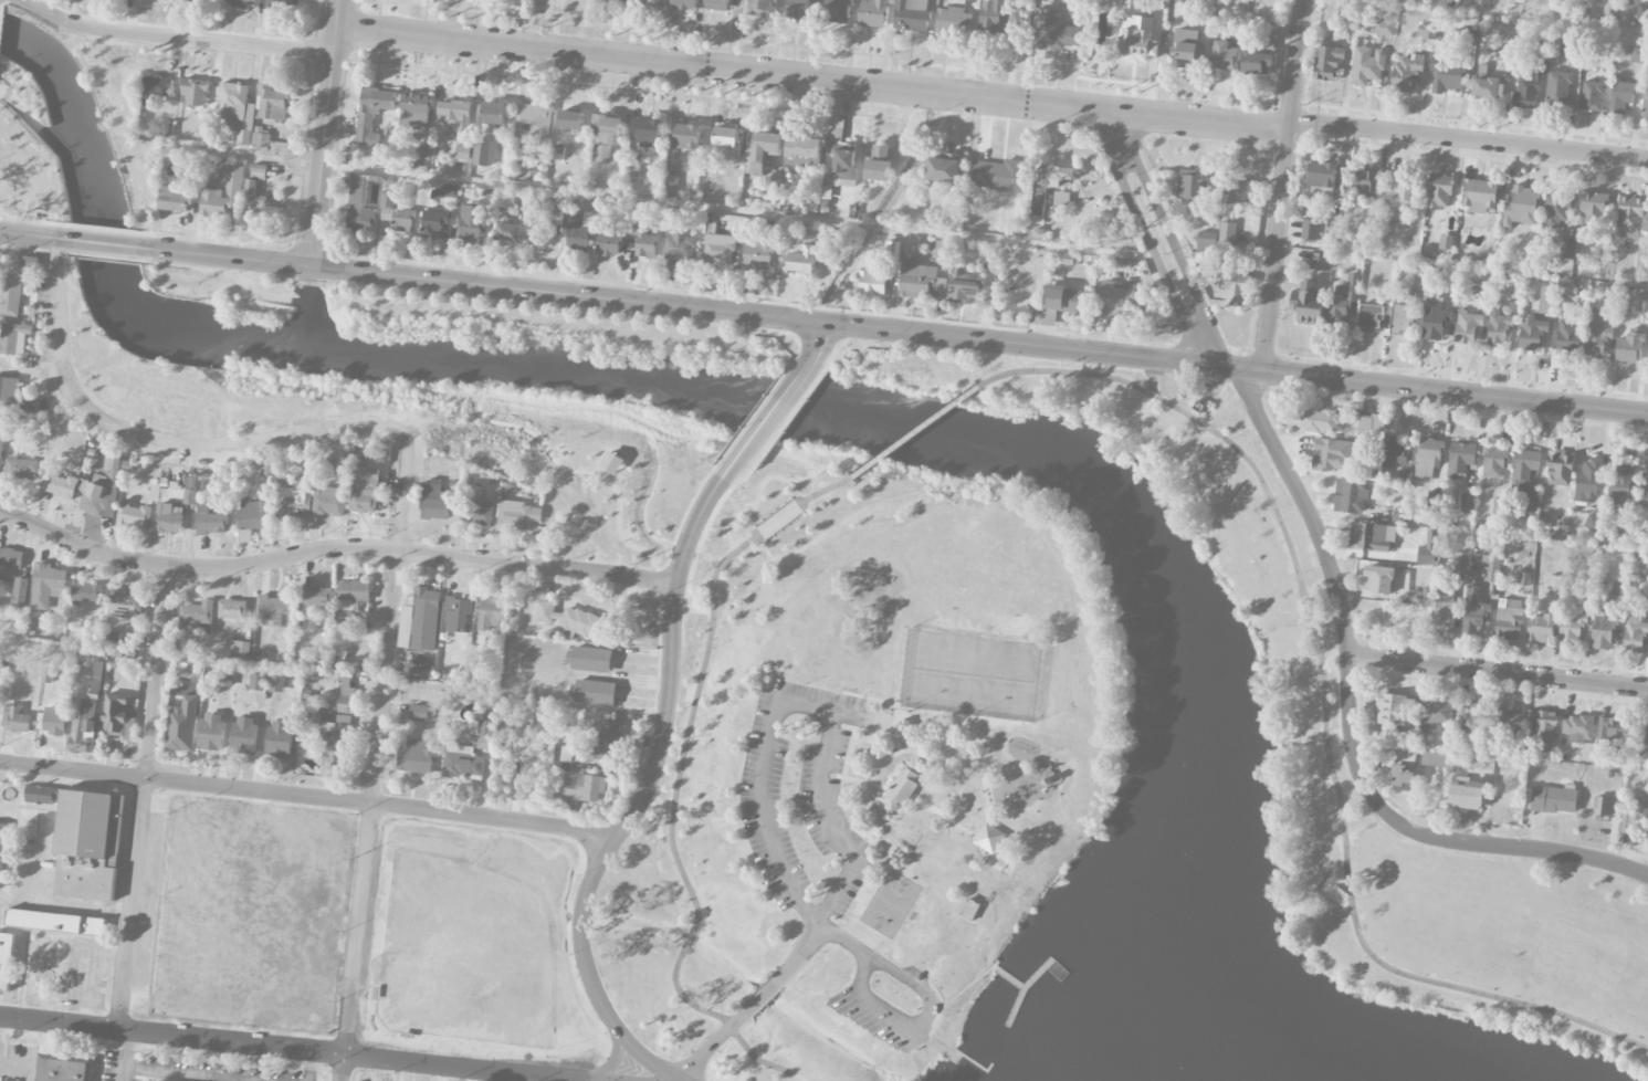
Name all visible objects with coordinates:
building: (196, 0)
building: (621, 0)
building: (1182, 1)
building: (239, 2)
building: (654, 2)
building: (1481, 2)
building: (284, 3)
building: (1106, 3)
building: (684, 4)
building: (1131, 4)
building: (716, 6)
building: (762, 8)
building: (798, 9)
building: (837, 11)
building: (873, 12)
building: (911, 15)
road: (1515, 15)
building: (990, 18)
building: (953, 20)
building: (1383, 29)
building: (1053, 32)
building: (1427, 32)
road: (170, 39)
building: (1136, 41)
building: (1185, 49)
building: (1505, 54)
building: (1635, 54)
building: (1224, 56)
building: (1258, 57)
building: (1327, 63)
building: (1367, 66)
building: (1406, 72)
building: (1447, 78)
road: (812, 82)
building: (156, 88)
building: (1486, 88)
building: (1557, 88)
building: (1528, 92)
building: (195, 93)
building: (1620, 94)
building: (1592, 96)
building: (1645, 97)
building: (271, 104)
building: (416, 111)
building: (237, 112)
building: (372, 113)
building: (493, 114)
building: (454, 115)
building: (534, 120)
building: (570, 120)
road: (324, 133)
building: (649, 134)
building: (606, 137)
building: (687, 137)
road: (1469, 139)
building: (725, 143)
building: (267, 145)
building: (802, 151)
building: (423, 153)
building: (462, 153)
building: (760, 153)
building: (483, 154)
building: (557, 154)
park: (28, 160)
building: (878, 165)
building: (843, 167)
building: (942, 170)
building: (1054, 174)
building: (998, 176)
building: (1322, 176)
building: (1358, 180)
building: (234, 182)
road: (1283, 185)
building: (671, 186)
building: (1189, 186)
building: (450, 191)
building: (1240, 191)
building: (1439, 192)
building: (1400, 196)
building: (1478, 196)
building: (1062, 198)
road: (649, 200)
building: (172, 201)
building: (213, 203)
building: (253, 203)
building: (363, 204)
building: (543, 207)
building: (1556, 207)
building: (1593, 207)
building: (1521, 208)
building: (397, 212)
building: (1630, 213)
building: (437, 222)
building: (471, 223)
building: (506, 230)
building: (576, 231)
building: (1314, 231)
building: (539, 232)
road: (24, 233)
building: (1227, 233)
road: (59, 238)
road: (1146, 239)
building: (643, 240)
building: (609, 241)
road: (1172, 241)
road: (103, 242)
building: (1445, 242)
building: (1206, 244)
building: (679, 248)
building: (718, 250)
building: (892, 250)
building: (1566, 251)
building: (756, 254)
road: (223, 256)
building: (802, 260)
building: (1640, 260)
building: (1319, 262)
building: (30, 265)
building: (916, 279)
building: (872, 282)
building: (964, 286)
building: (1566, 288)
building: (1236, 290)
building: (1515, 291)
road: (565, 293)
building: (10, 295)
building: (1114, 300)
building: (1064, 301)
building: (1342, 301)
building: (1546, 301)
building: (1642, 303)
building: (1308, 305)
building: (1403, 313)
building: (1368, 318)
building: (1435, 319)
building: (1467, 327)
building: (1498, 328)
building: (1532, 335)
building: (1595, 336)
building: (1568, 338)
building: (14, 339)
road: (1011, 342)
road: (817, 343)
building: (1629, 347)
building: (1647, 355)
road: (1235, 358)
road: (1216, 365)
road: (1236, 367)
road: (1252, 369)
road: (1058, 371)
road: (1228, 372)
road: (1452, 375)
road: (1246, 382)
road: (1455, 391)
building: (9, 392)
road: (1148, 392)
road: (1214, 402)
road: (576, 407)
building: (1195, 407)
road: (1448, 408)
road: (770, 413)
building: (1319, 420)
building: (1368, 426)
road: (912, 430)
road: (151, 440)
road: (461, 440)
building: (1393, 452)
building: (0, 454)
building: (1335, 455)
building: (1426, 458)
road: (508, 460)
building: (1459, 461)
building: (1493, 462)
building: (612, 463)
building: (21, 470)
building: (1560, 470)
road: (602, 472)
building: (1404, 476)
road: (1259, 480)
building: (1525, 480)
building: (1587, 482)
building: (60, 486)
building: (1619, 486)
road: (822, 490)
building: (102, 491)
building: (189, 491)
building: (365, 491)
building: (1645, 491)
building: (1348, 496)
building: (294, 500)
building: (329, 502)
building: (1432, 502)
building: (435, 503)
building: (1466, 504)
road: (1305, 506)
building: (1499, 506)
building: (476, 513)
building: (252, 515)
building: (518, 515)
building: (1400, 515)
building: (133, 518)
building: (169, 518)
road: (696, 519)
road: (778, 521)
building: (209, 522)
building: (1592, 524)
building: (1372, 536)
building: (1620, 537)
road: (333, 549)
building: (1427, 550)
building: (11, 558)
building: (1459, 566)
building: (1488, 567)
building: (1523, 579)
building: (1378, 580)
building: (1554, 583)
building: (1589, 584)
building: (46, 586)
building: (1618, 590)
building: (20, 592)
building: (86, 592)
building: (1414, 596)
building: (316, 597)
building: (350, 599)
building: (124, 604)
building: (232, 609)
road: (690, 610)
building: (275, 611)
building: (1441, 612)
building: (1473, 612)
building: (491, 613)
building: (458, 615)
building: (424, 619)
building: (1508, 619)
building: (570, 621)
road: (1304, 621)
building: (1540, 628)
building: (1571, 629)
building: (1603, 630)
building: (1633, 633)
building: (240, 651)
building: (477, 653)
building: (258, 657)
road: (1503, 657)
building: (589, 660)
road: (670, 661)
road: (886, 661)
building: (188, 669)
park: (924, 669)
road: (1498, 670)
park: (955, 673)
park: (986, 678)
building: (224, 679)
park: (1017, 681)
building: (258, 682)
road: (1320, 683)
building: (276, 684)
road: (1498, 688)
park: (933, 690)
building: (594, 693)
building: (346, 696)
road: (822, 711)
building: (1394, 711)
building: (526, 712)
road: (893, 712)
building: (417, 713)
building: (1434, 714)
building: (117, 717)
building: (314, 718)
building: (1470, 718)
building: (15, 720)
building: (53, 722)
building: (1505, 722)
road: (685, 723)
road: (891, 724)
building: (900, 724)
building: (182, 725)
building: (1541, 730)
building: (1578, 730)
road: (868, 731)
road: (967, 731)
building: (211, 732)
building: (243, 735)
building: (82, 736)
building: (1613, 736)
building: (279, 739)
road: (858, 739)
building: (603, 741)
building: (1640, 741)
road: (1323, 742)
road: (1367, 752)
road: (914, 753)
road: (984, 753)
road: (376, 756)
building: (413, 757)
building: (563, 757)
building: (1435, 758)
building: (1482, 762)
building: (460, 763)
building: (1403, 769)
road: (993, 774)
road: (854, 780)
building: (584, 788)
building: (901, 789)
road: (820, 791)
building: (1465, 794)
building: (41, 795)
parking lot: (798, 796)
road: (306, 797)
road: (143, 799)
building: (1553, 799)
building: (1605, 806)
road: (941, 816)
building: (1635, 816)
road: (765, 817)
road: (861, 835)
road: (861, 836)
road: (1430, 836)
road: (1561, 837)
building: (984, 838)
building: (84, 848)
building: (2, 852)
road: (879, 865)
park: (886, 903)
road: (826, 906)
road: (88, 907)
building: (966, 907)
road: (579, 917)
building: (55, 923)
road: (836, 935)
road: (685, 940)
park: (465, 953)
building: (6, 962)
road: (1405, 974)
road: (1007, 978)
road: (1020, 988)
road: (767, 990)
road: (955, 991)
parking lot: (885, 1005)
road: (724, 1019)
road: (920, 1026)
road: (919, 1035)
road: (285, 1049)
road: (941, 1049)
road: (706, 1051)
road: (125, 1056)
road: (612, 1061)
road: (973, 1063)
road: (312, 1067)
building: (61, 1069)
road: (189, 1073)

